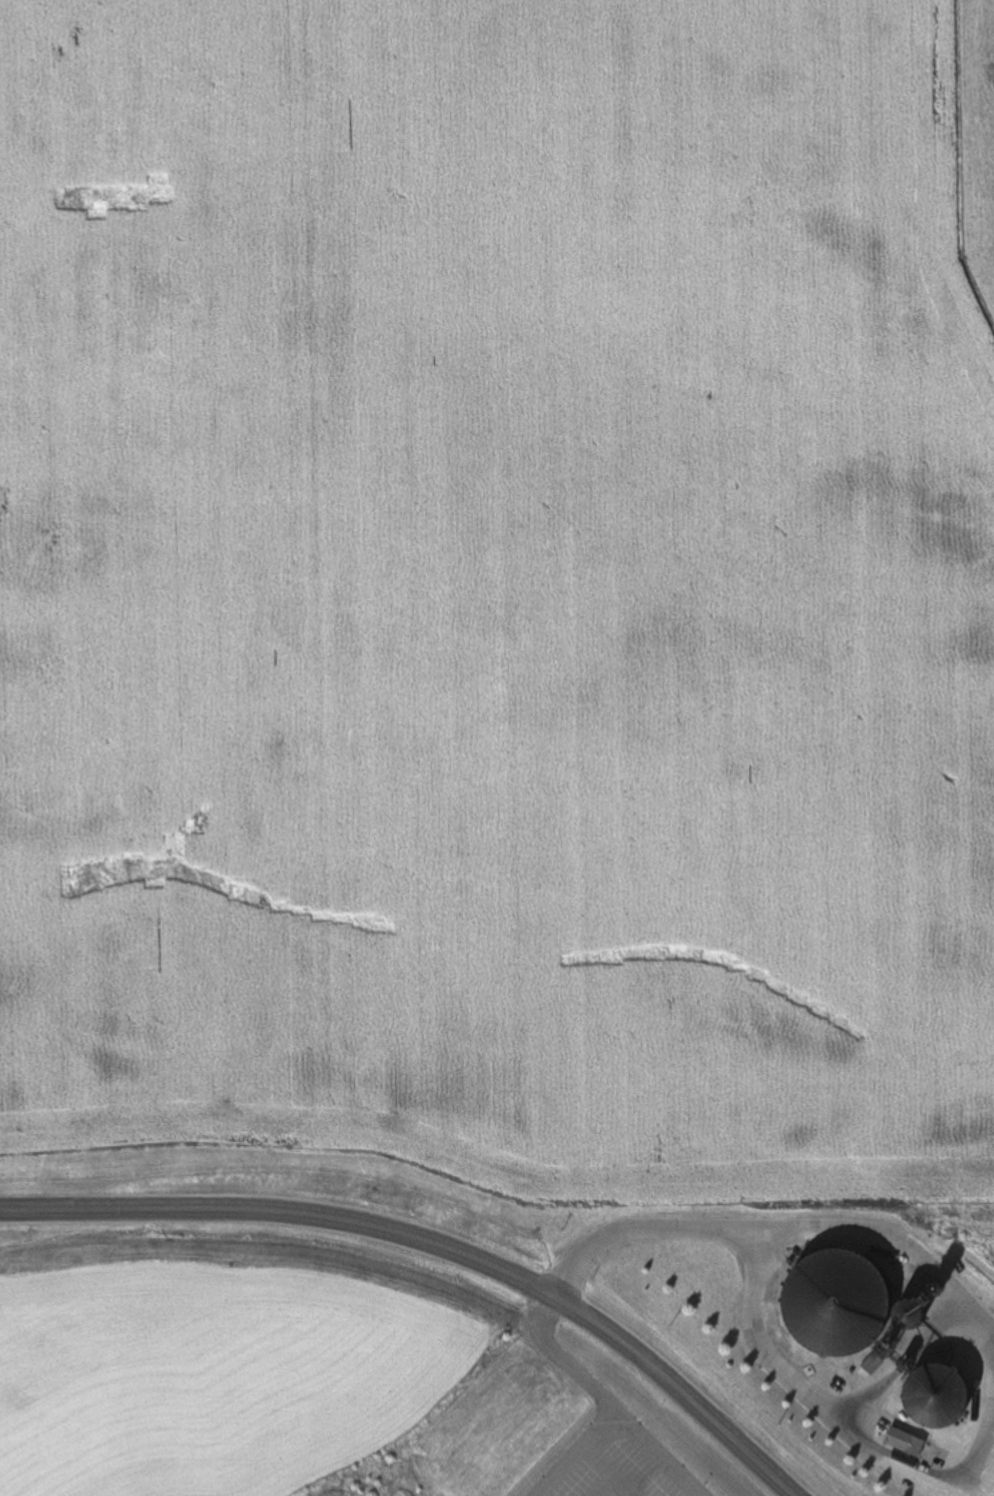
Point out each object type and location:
road: (640, 1229)
road: (891, 1233)
road: (437, 1245)
building: (937, 1292)
building: (836, 1305)
building: (909, 1317)
road: (905, 1362)
building: (936, 1399)
road: (606, 1402)
road: (828, 1415)
building: (914, 1448)
road: (579, 1454)
road: (613, 1471)
road: (607, 1485)

